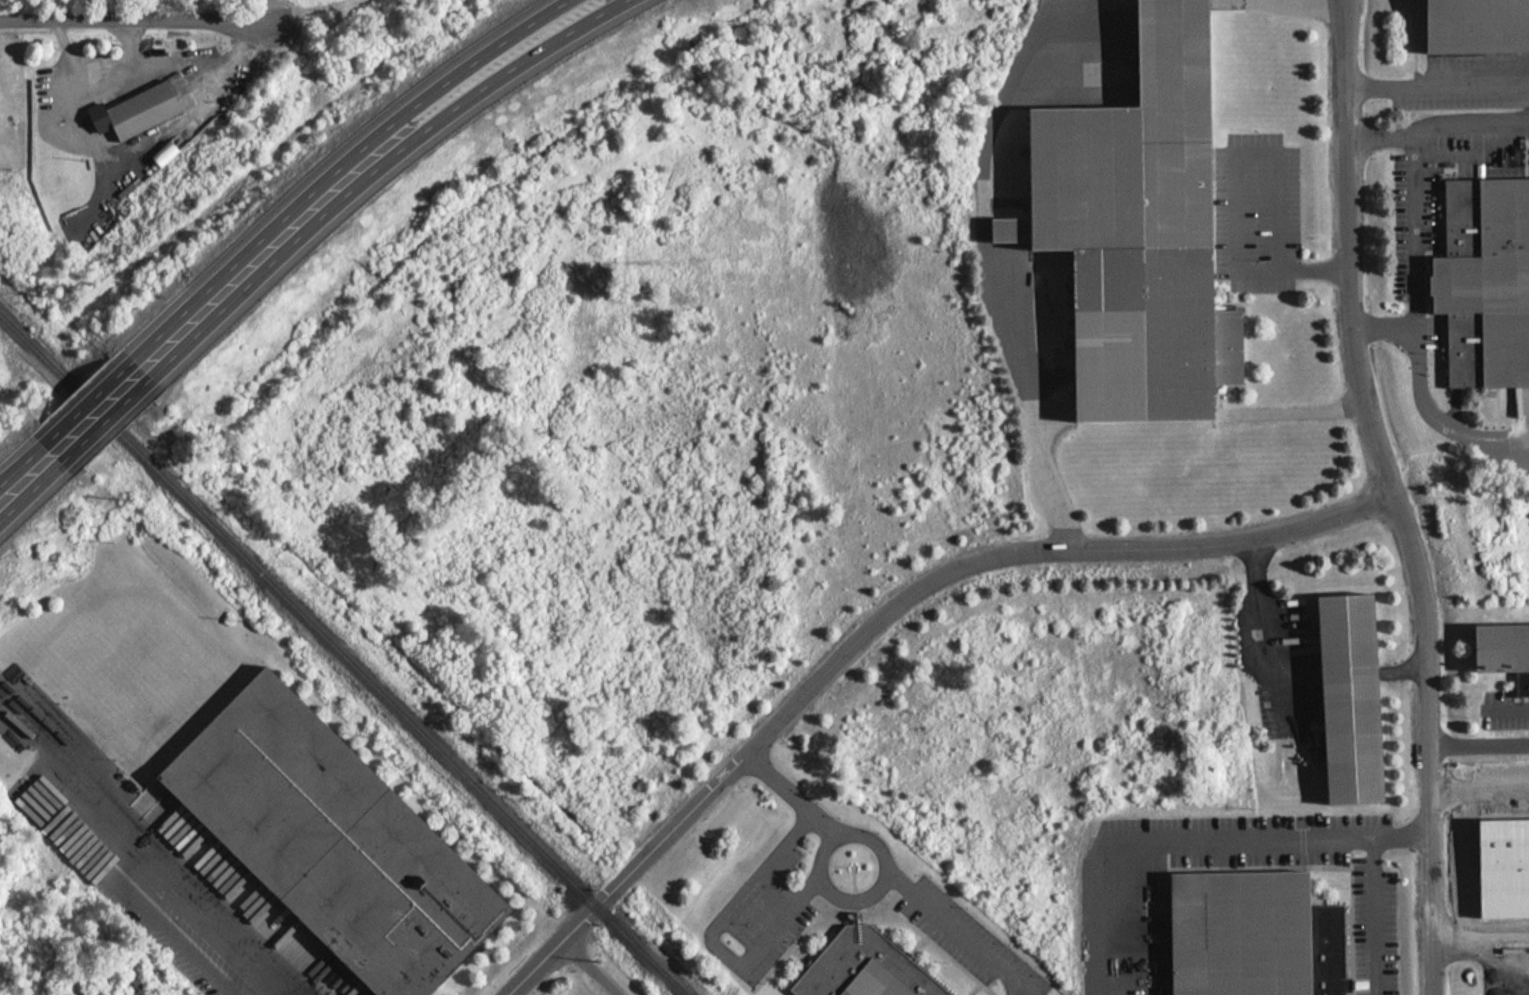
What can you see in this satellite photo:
road: (1307, 1)
road: (134, 24)
building: (1476, 27)
road: (1434, 89)
building: (67, 107)
building: (145, 111)
road: (1470, 120)
road: (342, 163)
road: (380, 171)
road: (1279, 189)
road: (1237, 211)
road: (1415, 225)
building: (1140, 230)
road: (983, 268)
road: (1266, 271)
road: (1320, 271)
road: (1297, 272)
building: (1490, 283)
road: (88, 401)
road: (1298, 413)
road: (1438, 414)
road: (108, 422)
road: (19, 463)
road: (31, 495)
road: (1389, 496)
road: (1260, 610)
road: (880, 611)
building: (1500, 647)
railway: (343, 654)
building: (1354, 700)
road: (1510, 710)
road: (1478, 748)
road: (791, 794)
road: (1190, 831)
building: (337, 840)
road: (161, 886)
road: (837, 891)
road: (1375, 912)
road: (957, 929)
building: (1256, 934)
road: (1479, 935)
road: (712, 940)
road: (592, 967)
building: (880, 981)

